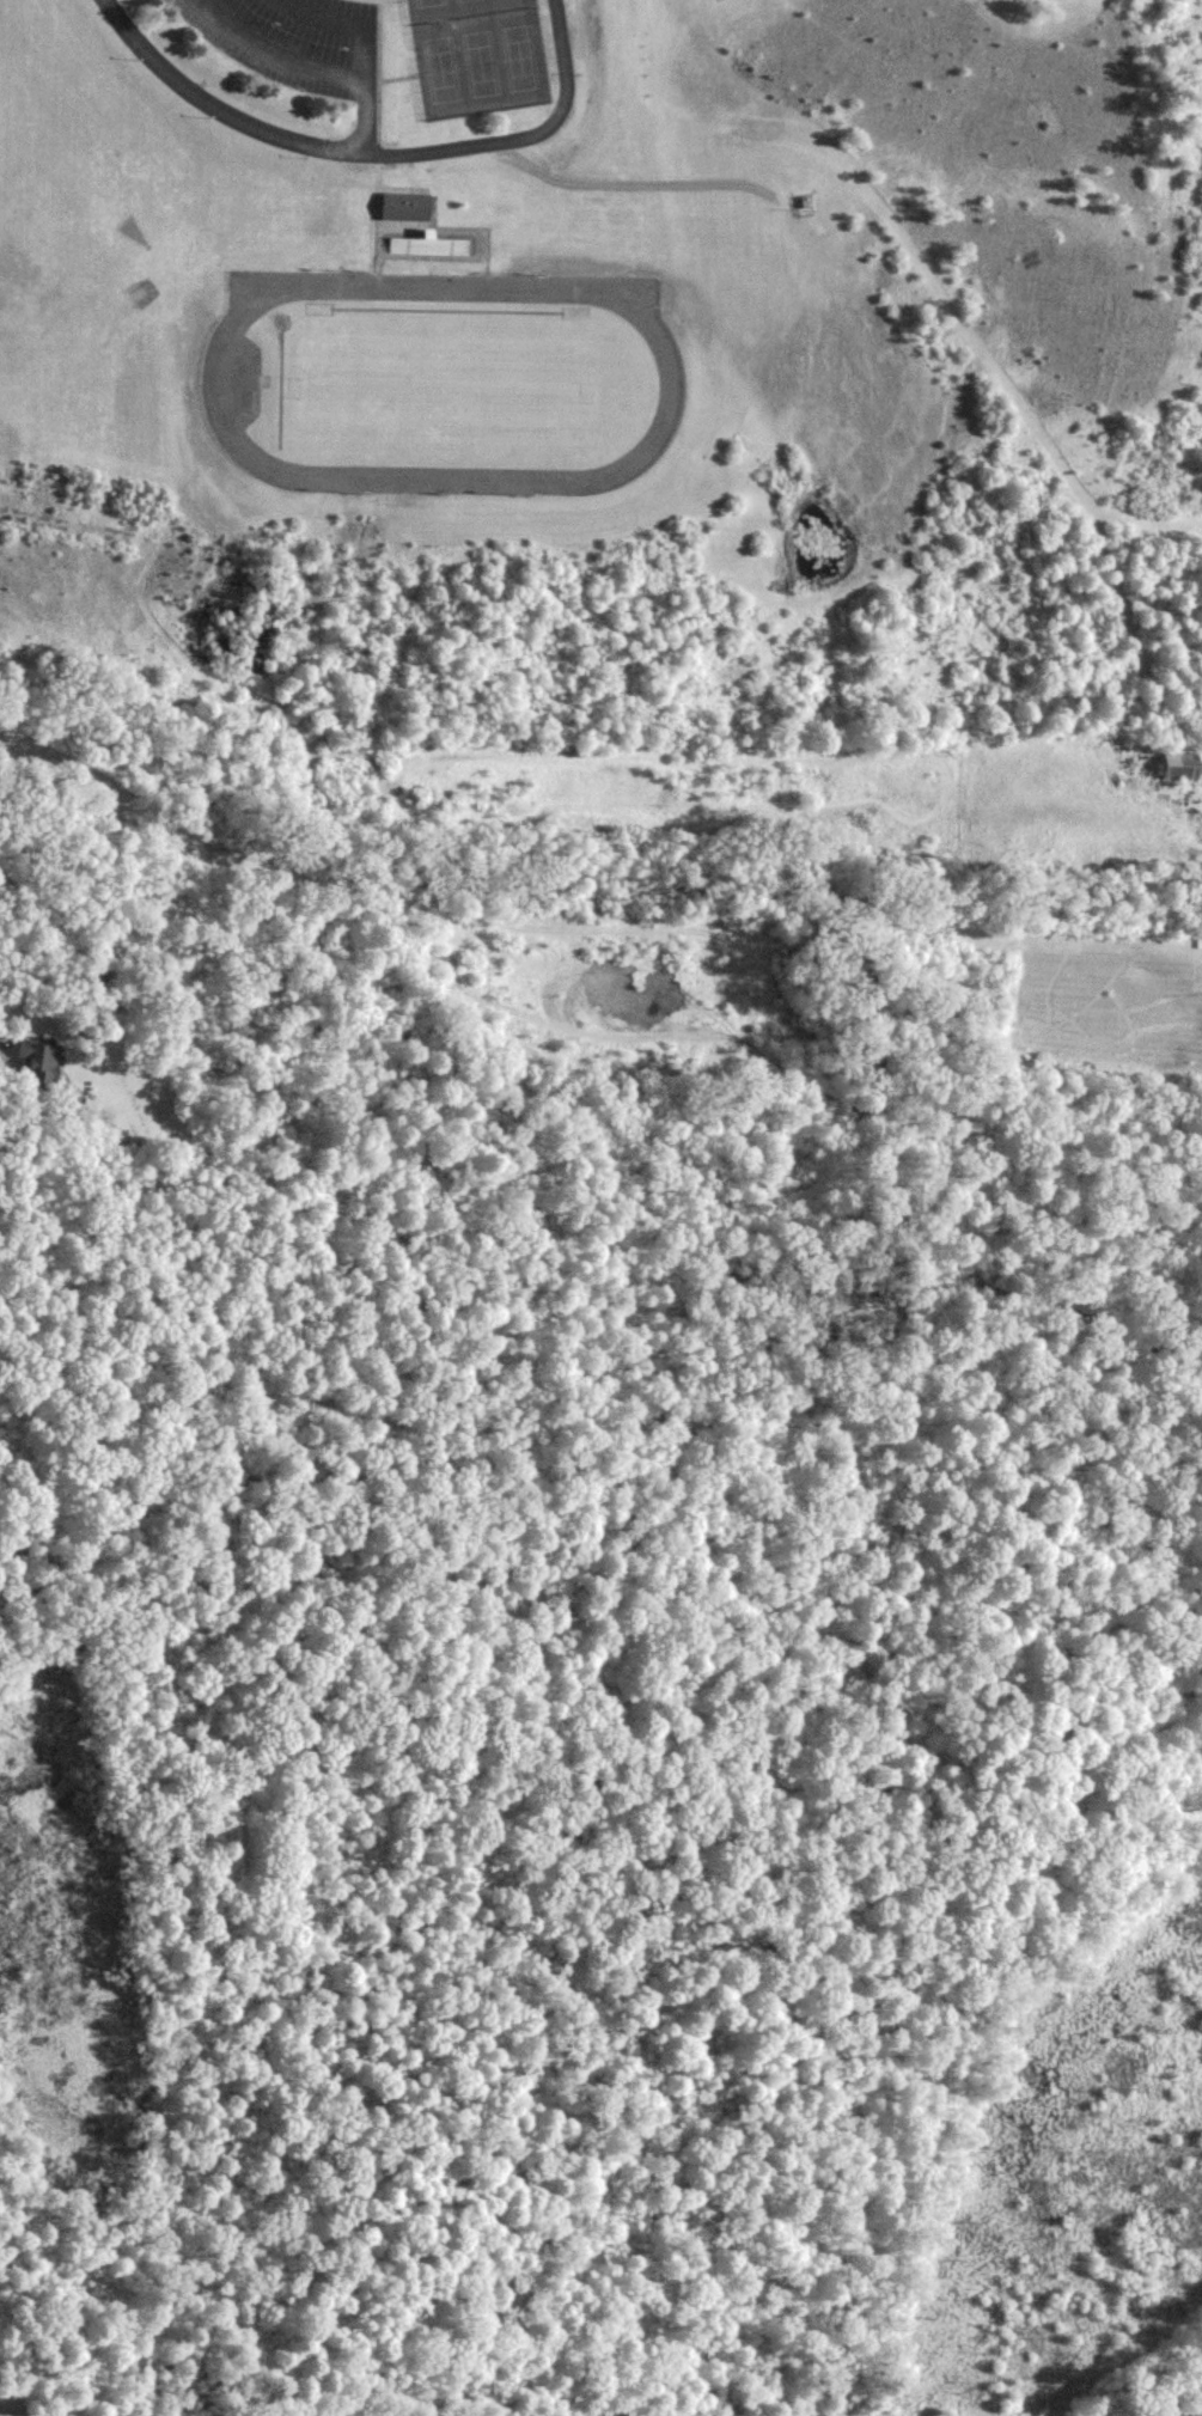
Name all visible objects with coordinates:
road: (279, 54)
park: (475, 54)
road: (523, 139)
road: (313, 146)
building: (399, 206)
building: (425, 245)
track: (671, 385)
park: (443, 390)
building: (1177, 767)
road: (2, 1036)
building: (31, 1060)

